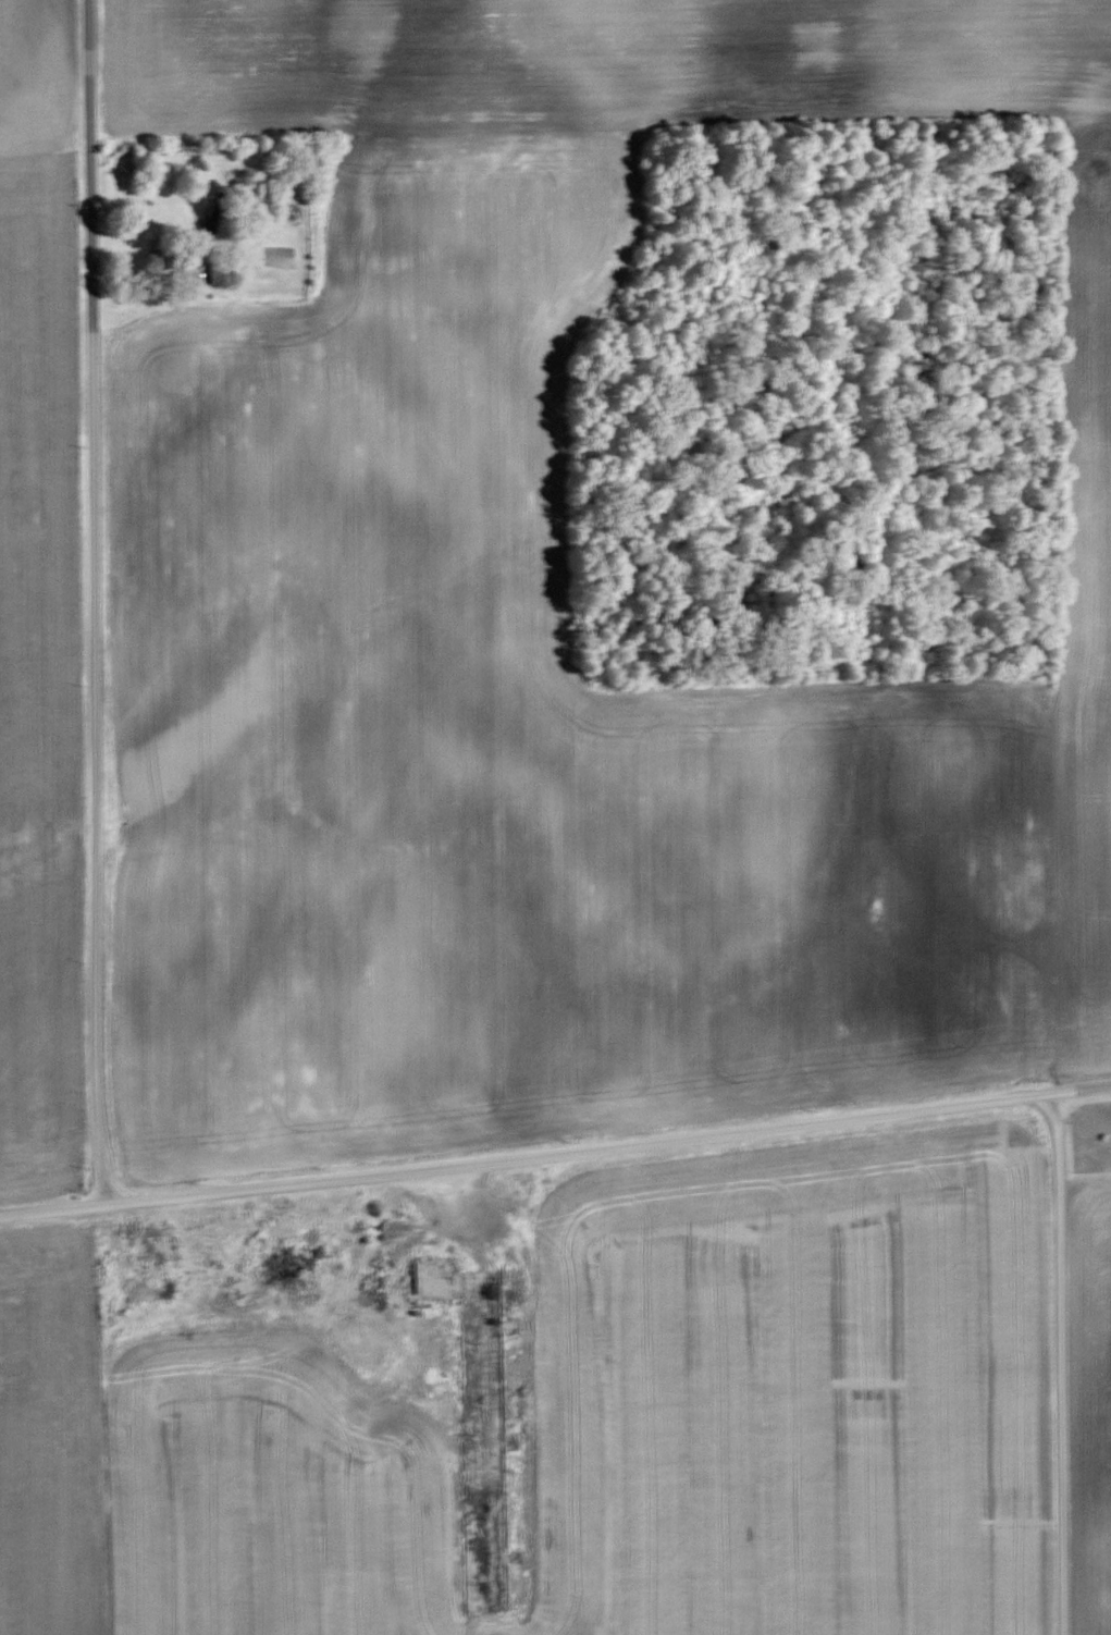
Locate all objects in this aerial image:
building: (223, 272)
road: (89, 599)
road: (555, 1153)
building: (287, 1270)
building: (153, 1290)
road: (1052, 1370)
building: (480, 1419)

